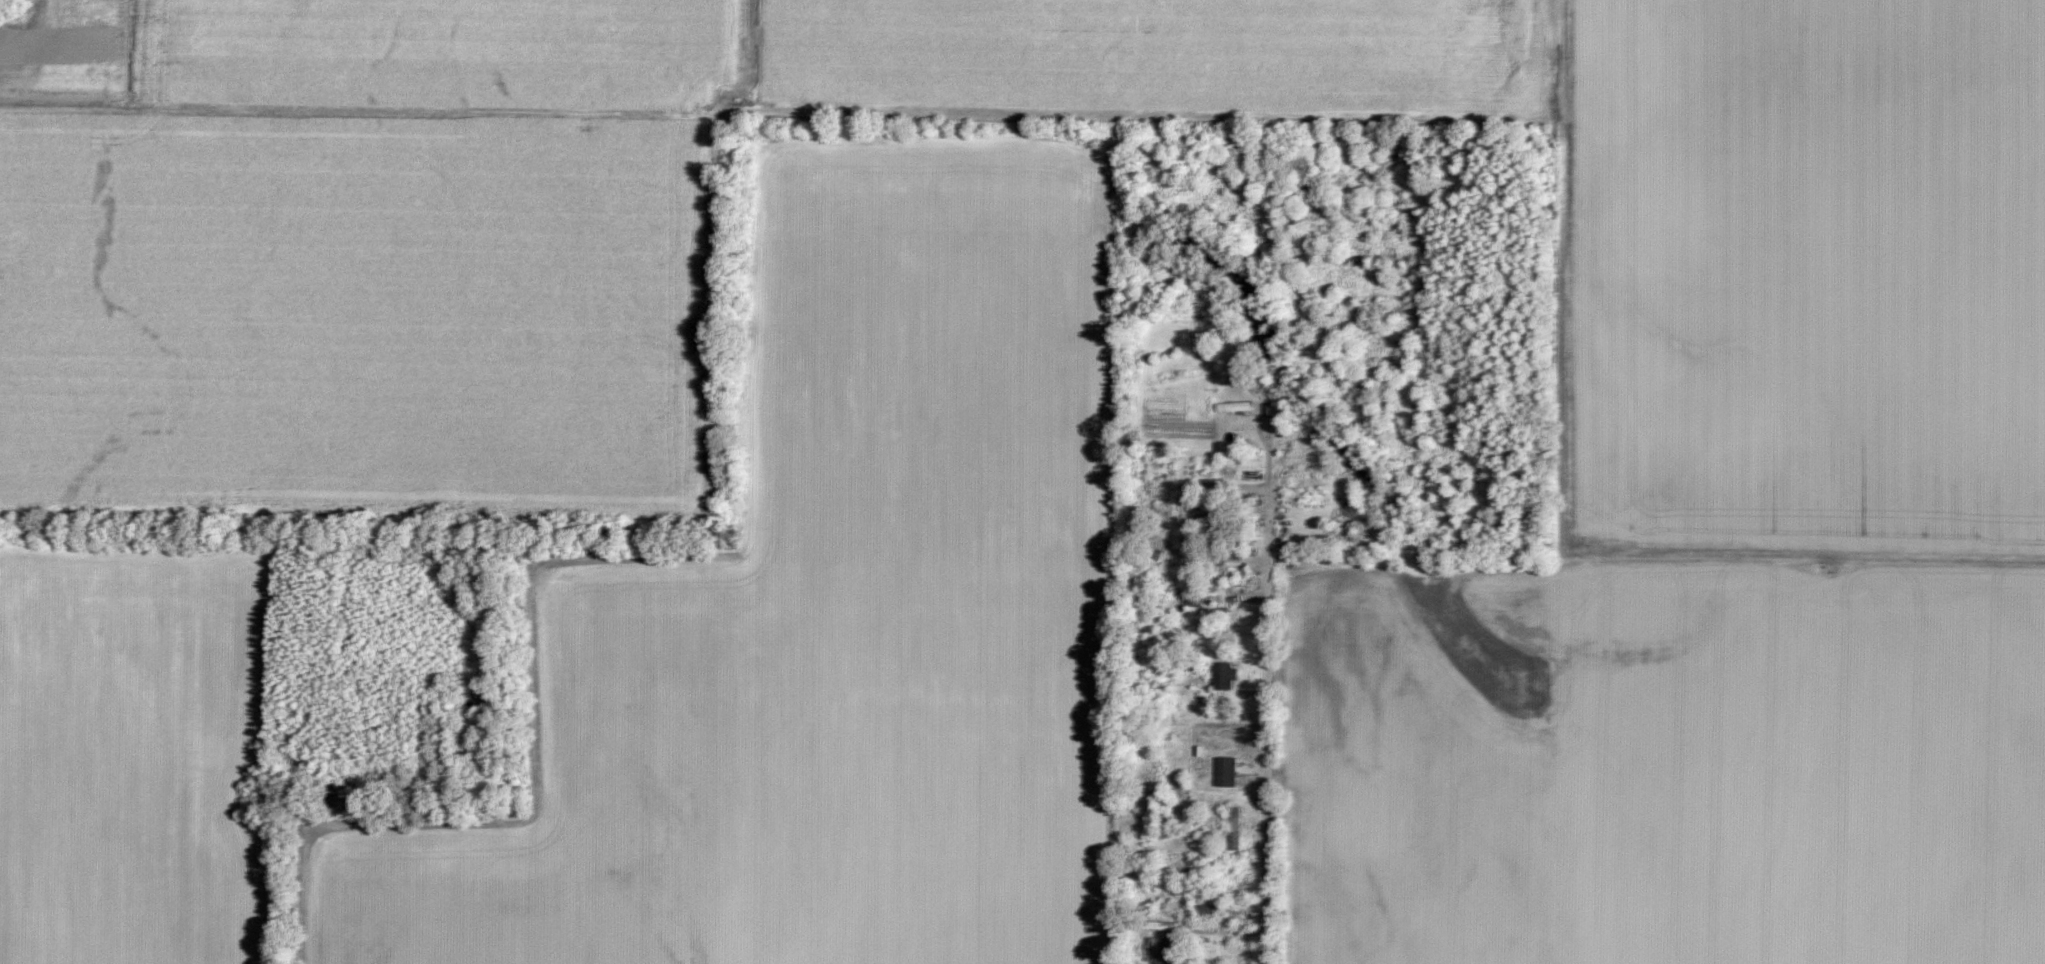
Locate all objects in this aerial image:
road: (359, 123)
building: (1213, 322)
building: (1222, 340)
building: (1249, 384)
building: (1248, 515)
building: (1194, 600)
building: (1222, 675)
road: (1267, 677)
building: (1224, 771)
building: (1153, 869)
building: (1229, 881)
road: (1187, 900)
building: (1203, 911)
building: (1158, 925)
building: (1157, 950)

